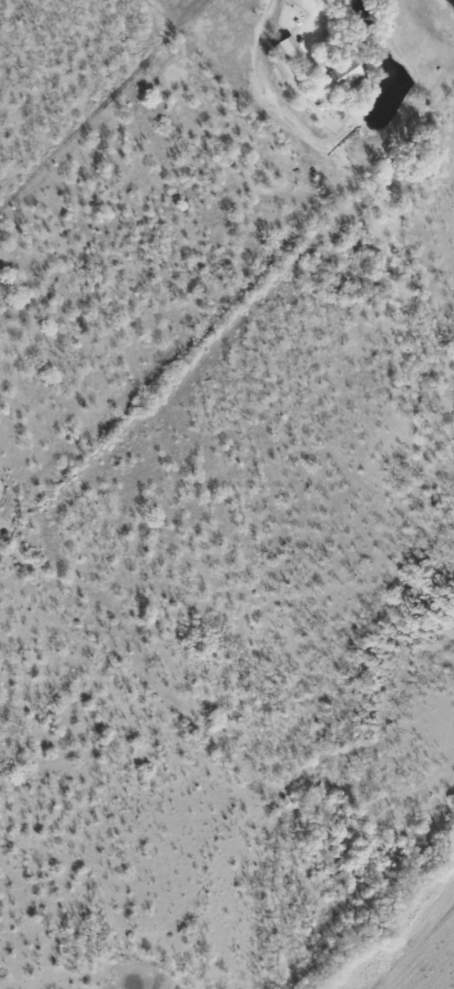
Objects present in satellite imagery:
road: (321, 1)
building: (285, 49)
building: (339, 78)

